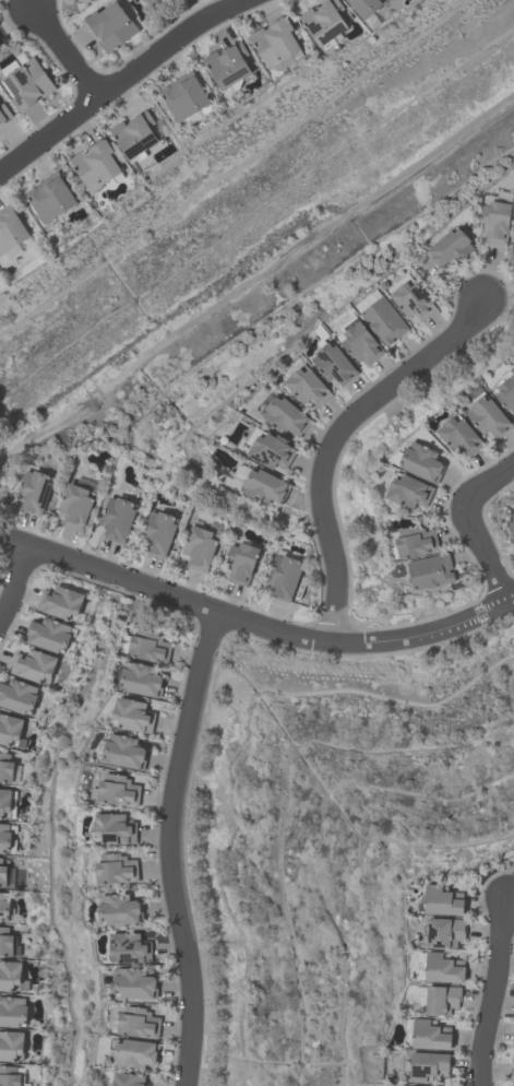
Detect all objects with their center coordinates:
building: (86, 1)
road: (250, 1)
building: (367, 7)
building: (325, 21)
building: (111, 26)
building: (276, 42)
building: (0, 49)
road: (65, 55)
building: (228, 64)
road: (125, 82)
building: (28, 83)
building: (186, 96)
building: (4, 114)
building: (135, 134)
building: (97, 164)
building: (51, 197)
building: (495, 222)
building: (11, 229)
building: (452, 248)
road: (254, 278)
building: (414, 300)
building: (385, 321)
building: (362, 343)
building: (334, 364)
building: (308, 387)
building: (507, 393)
building: (286, 415)
building: (489, 417)
building: (462, 436)
road: (334, 439)
building: (272, 451)
building: (423, 462)
building: (266, 487)
building: (36, 492)
building: (410, 492)
building: (76, 506)
building: (118, 518)
building: (513, 518)
road: (465, 524)
building: (511, 528)
building: (158, 533)
building: (417, 542)
building: (200, 548)
building: (240, 563)
building: (431, 571)
building: (284, 577)
road: (16, 588)
building: (61, 602)
road: (255, 627)
building: (48, 635)
building: (148, 646)
building: (34, 665)
building: (142, 680)
building: (17, 696)
building: (133, 716)
building: (10, 729)
building: (125, 752)
building: (5, 768)
building: (119, 790)
building: (4, 801)
building: (116, 829)
building: (4, 836)
road: (174, 850)
building: (117, 869)
building: (2, 873)
building: (443, 901)
building: (4, 905)
building: (120, 909)
building: (446, 932)
building: (130, 947)
building: (444, 968)
building: (10, 975)
building: (135, 983)
road: (487, 993)
building: (443, 1000)
building: (12, 1011)
building: (140, 1023)
building: (431, 1035)
building: (11, 1044)
building: (136, 1054)
building: (429, 1066)
building: (512, 1073)
building: (9, 1076)
building: (130, 1079)

